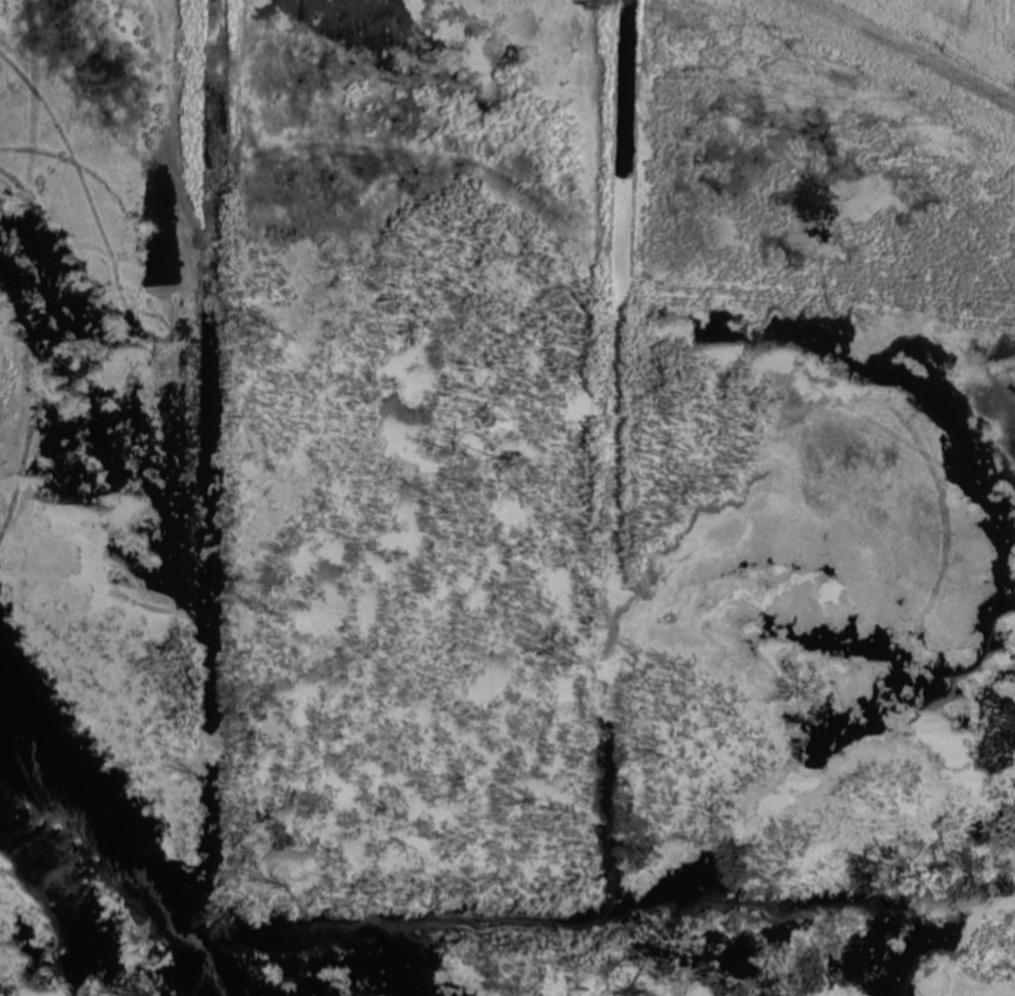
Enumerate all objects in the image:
river: (117, 832)

